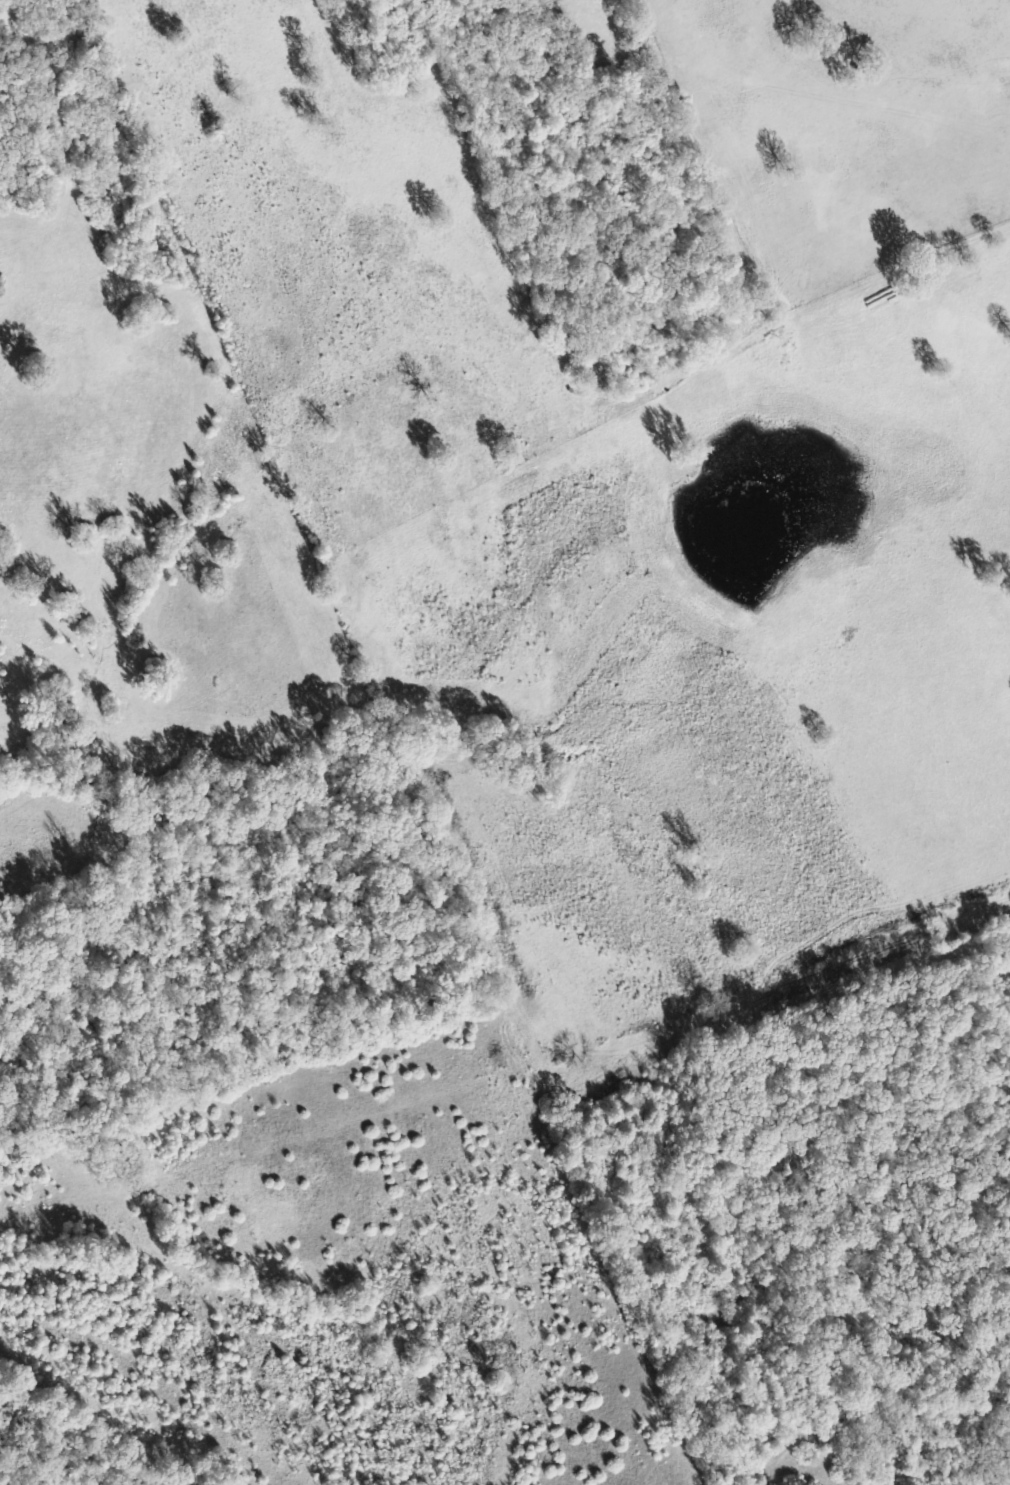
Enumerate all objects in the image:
road: (877, 124)

